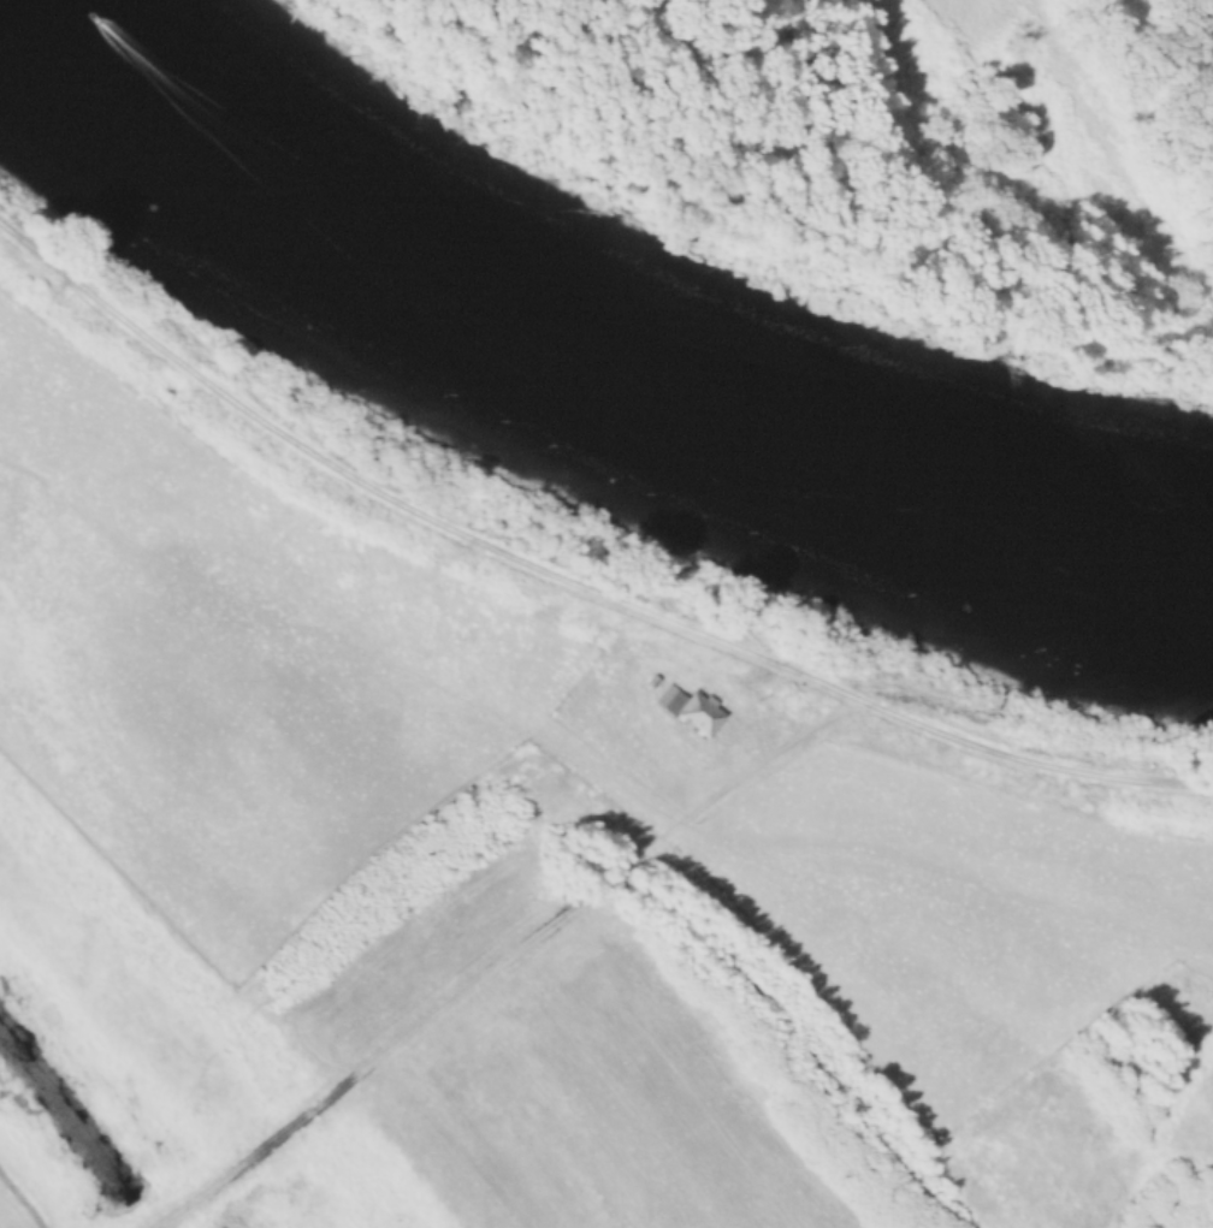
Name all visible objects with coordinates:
river: (590, 397)
road: (570, 580)
building: (688, 711)
road: (503, 957)

